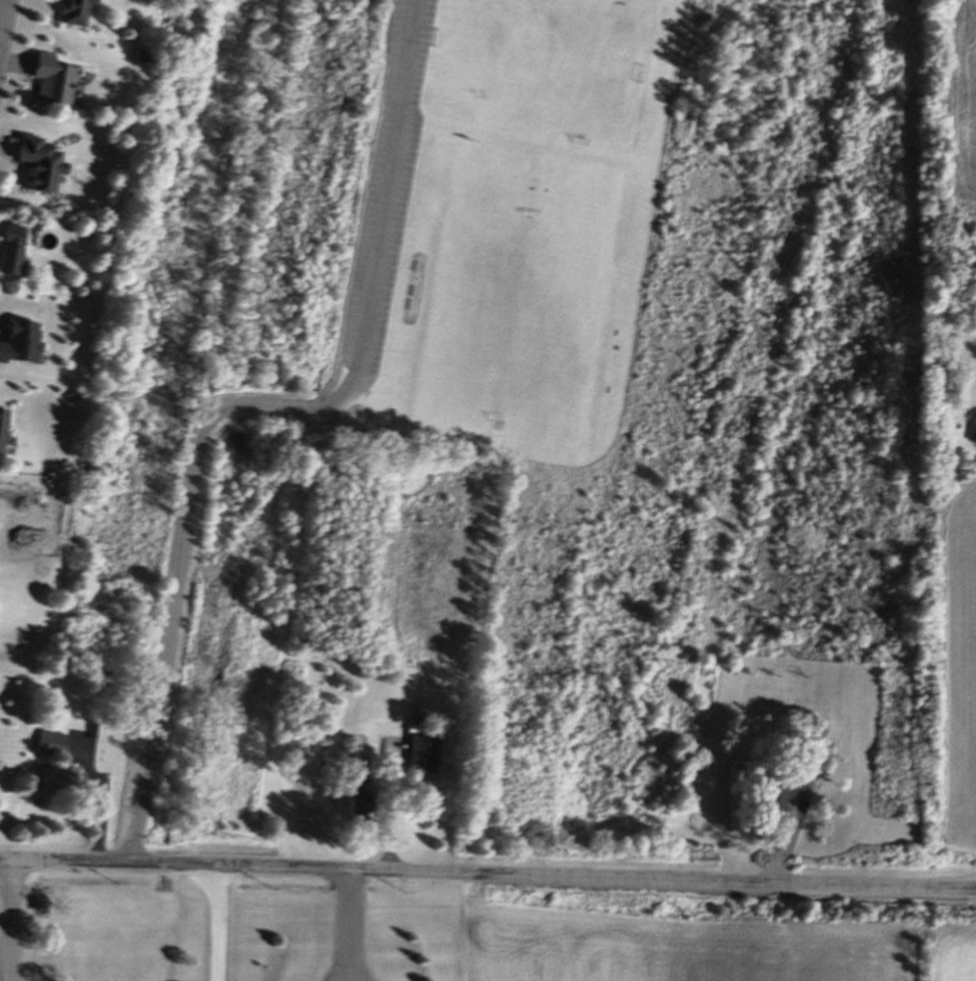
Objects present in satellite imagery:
building: (64, 13)
road: (3, 19)
park: (539, 65)
building: (46, 82)
building: (31, 166)
building: (7, 249)
park: (428, 289)
park: (514, 305)
building: (15, 343)
road: (252, 406)
building: (0, 411)
building: (975, 443)
building: (47, 745)
building: (808, 755)
building: (417, 756)
building: (48, 780)
building: (776, 793)
road: (488, 874)
road: (17, 920)
road: (213, 923)
road: (345, 926)

